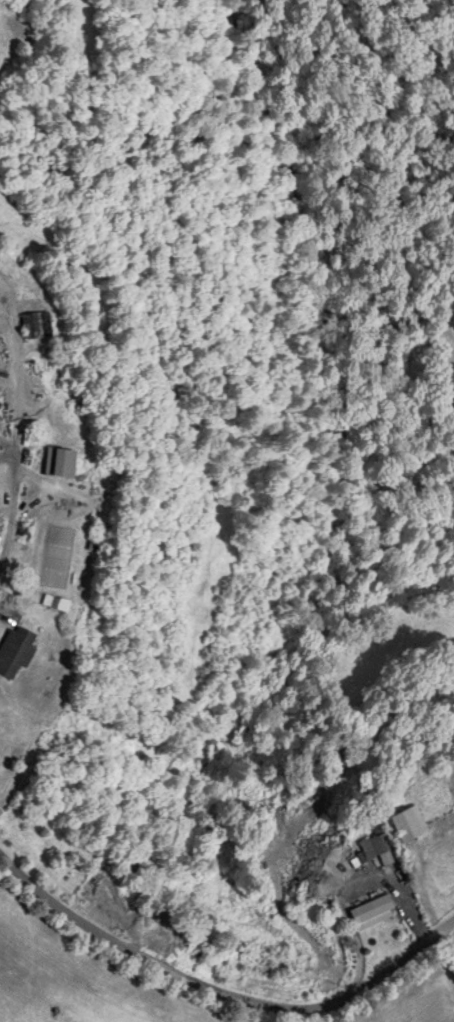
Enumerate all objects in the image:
building: (37, 323)
road: (38, 425)
building: (60, 461)
building: (54, 601)
building: (14, 649)
building: (409, 822)
building: (378, 845)
building: (106, 894)
building: (372, 909)
road: (218, 993)

